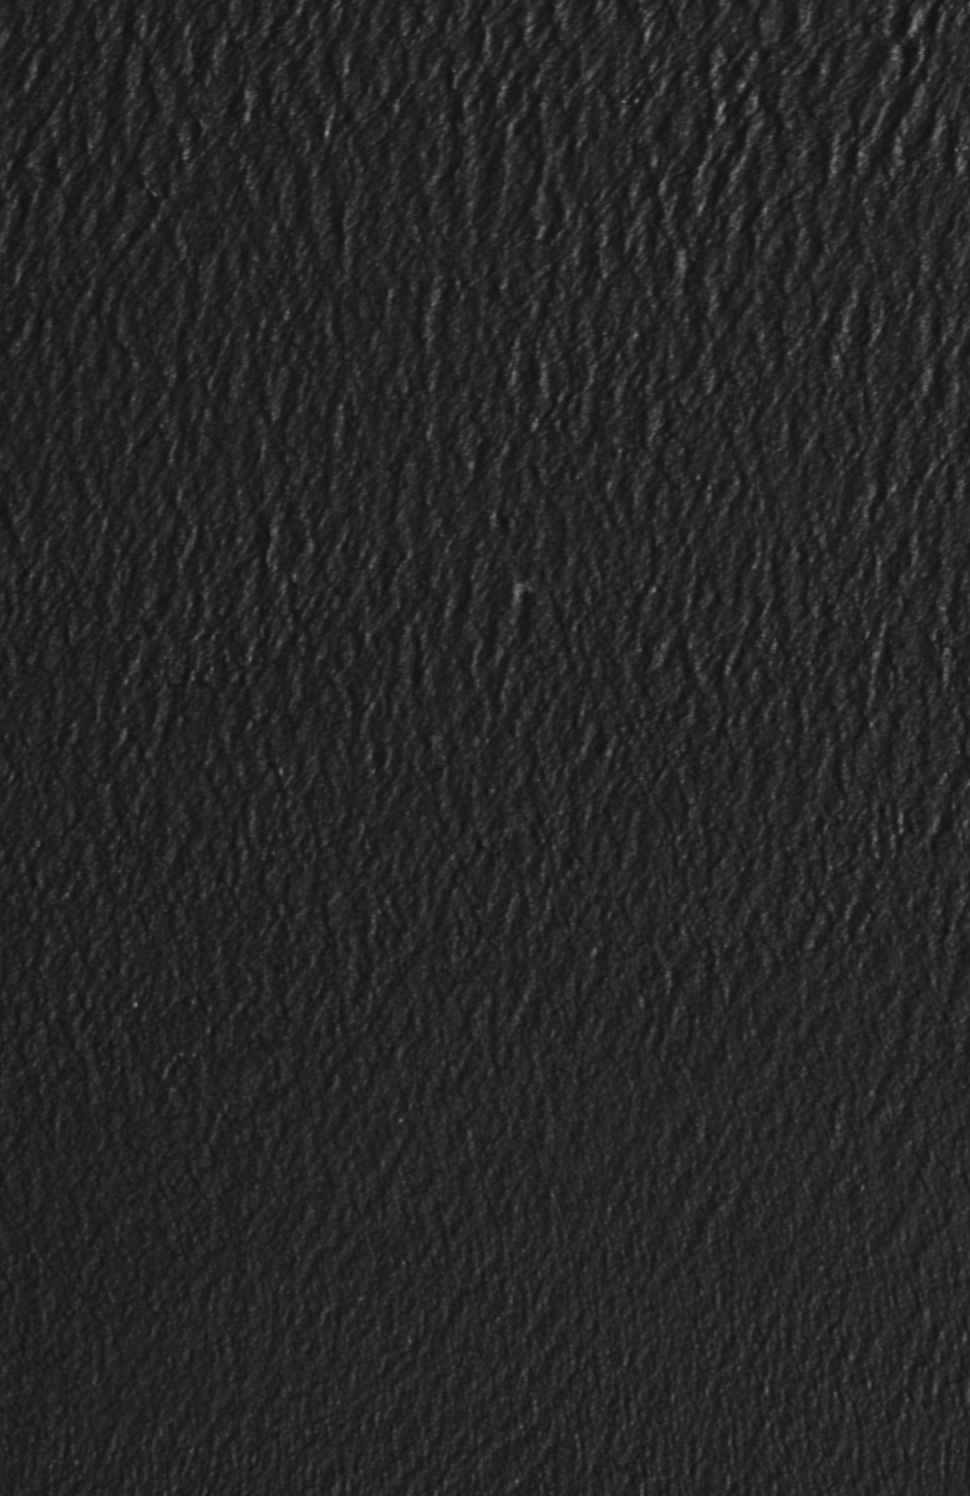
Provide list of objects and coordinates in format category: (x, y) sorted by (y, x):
river: (485, 635)

